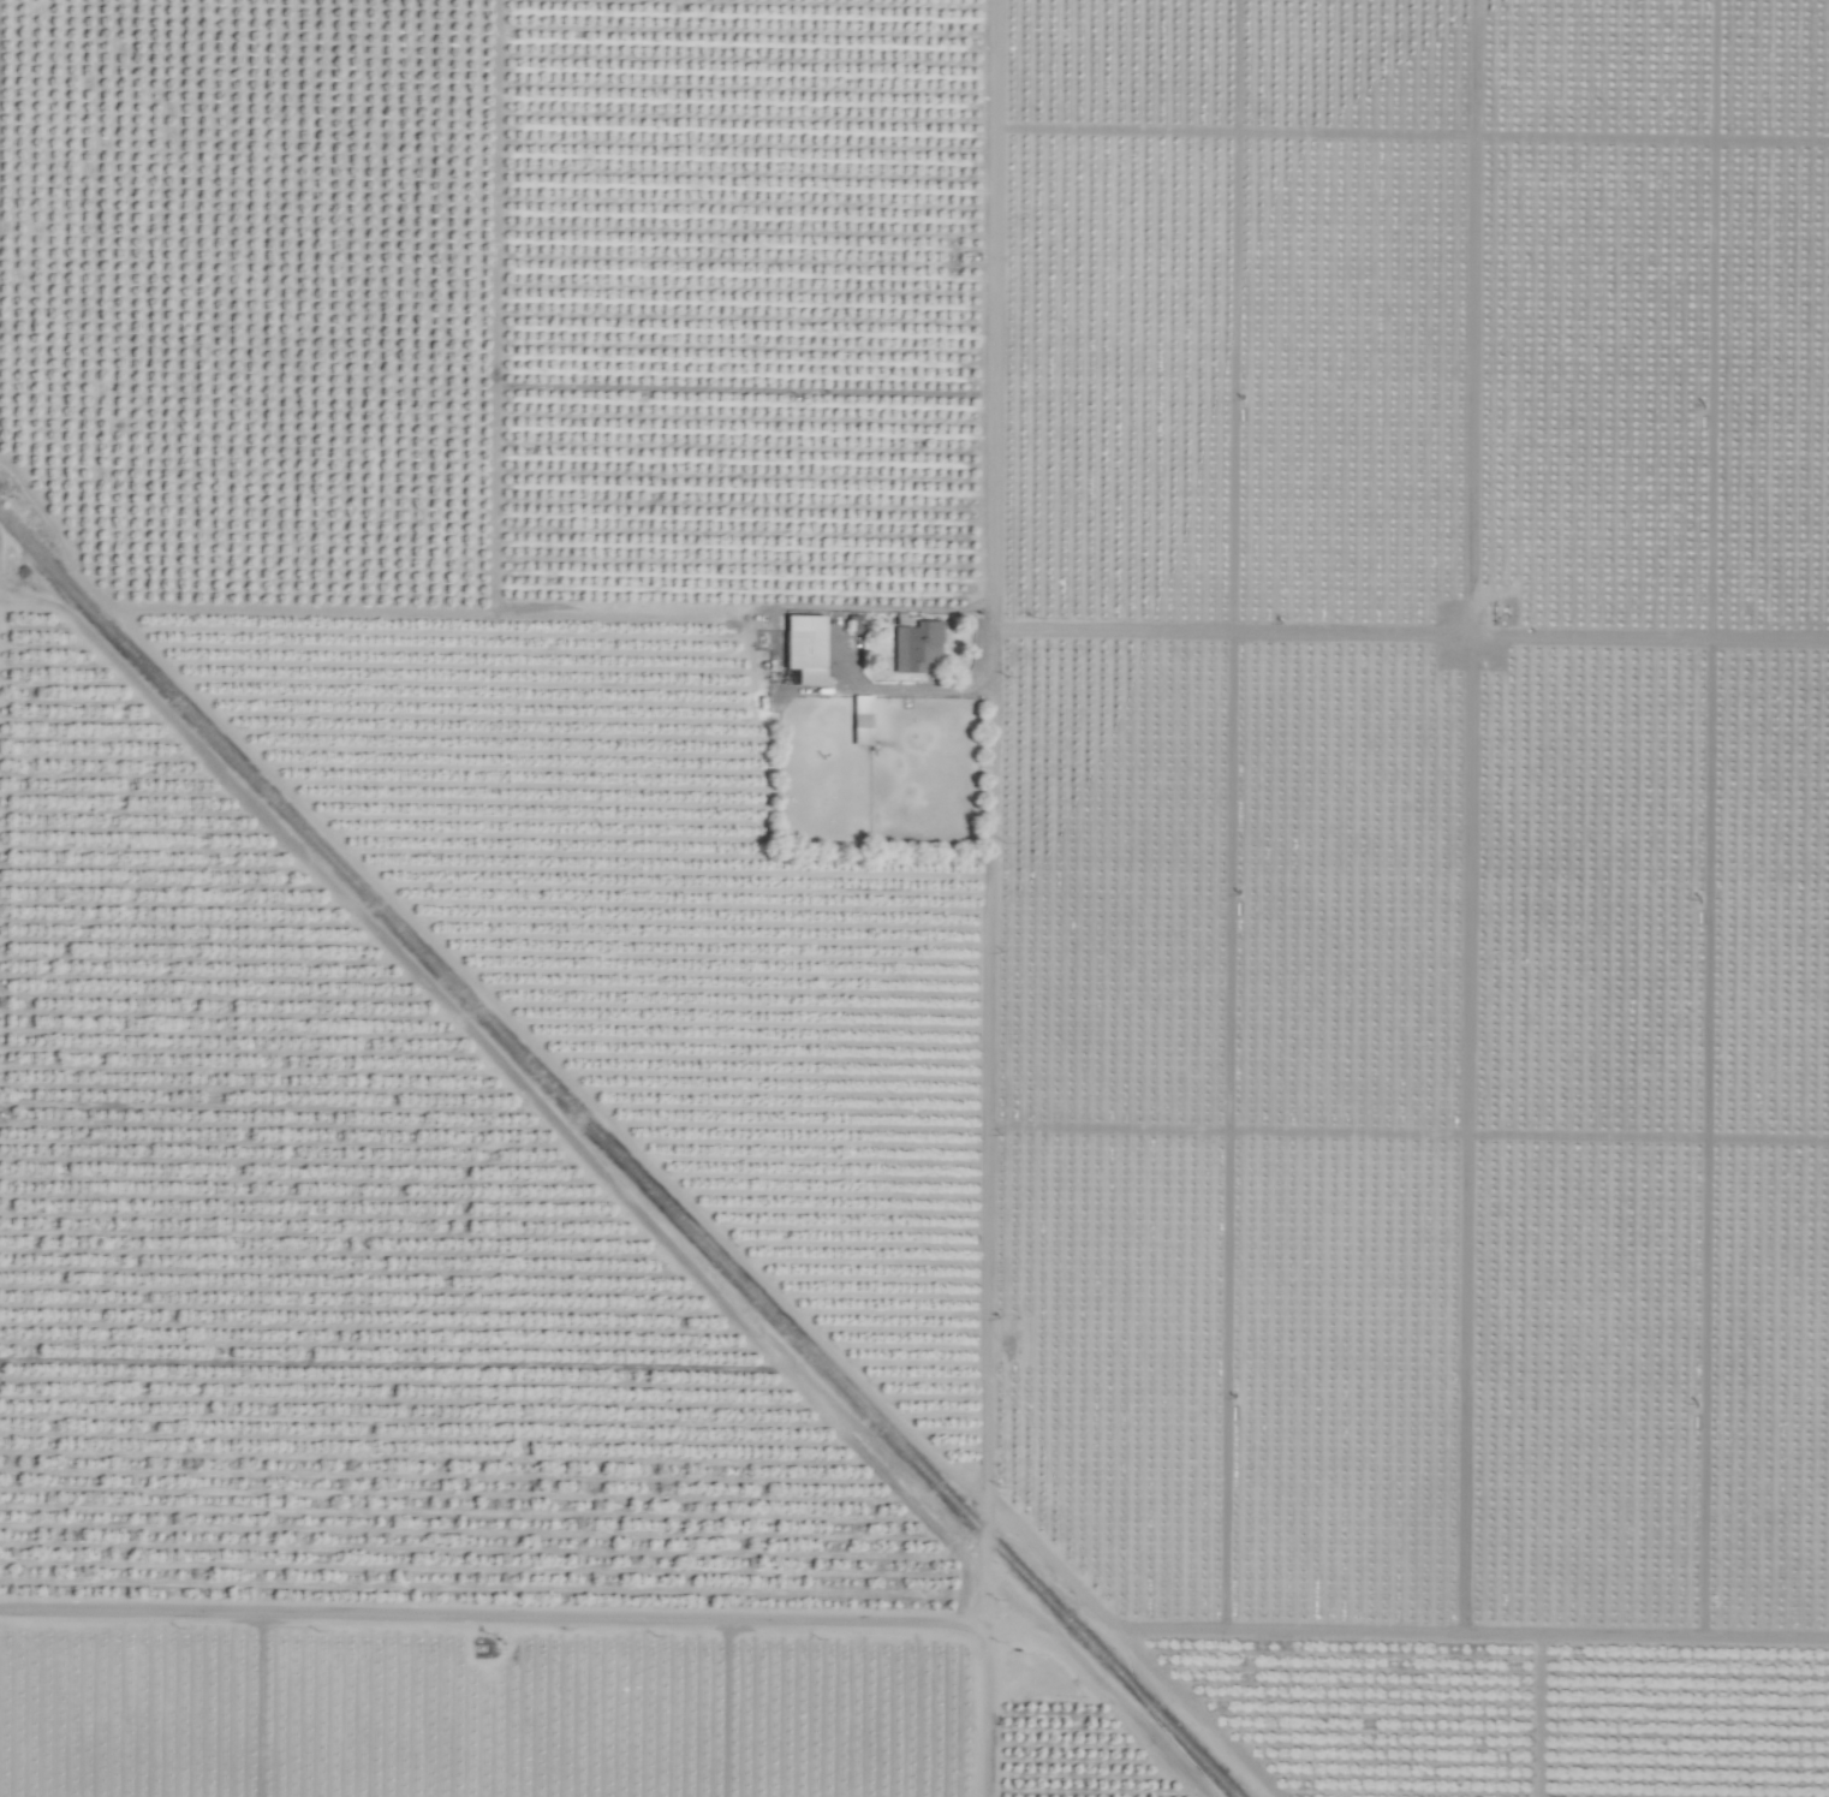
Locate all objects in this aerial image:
building: (913, 647)
building: (809, 648)
building: (864, 720)
crop: (914, 898)
road: (994, 898)
railway: (616, 1158)
road: (495, 1635)

